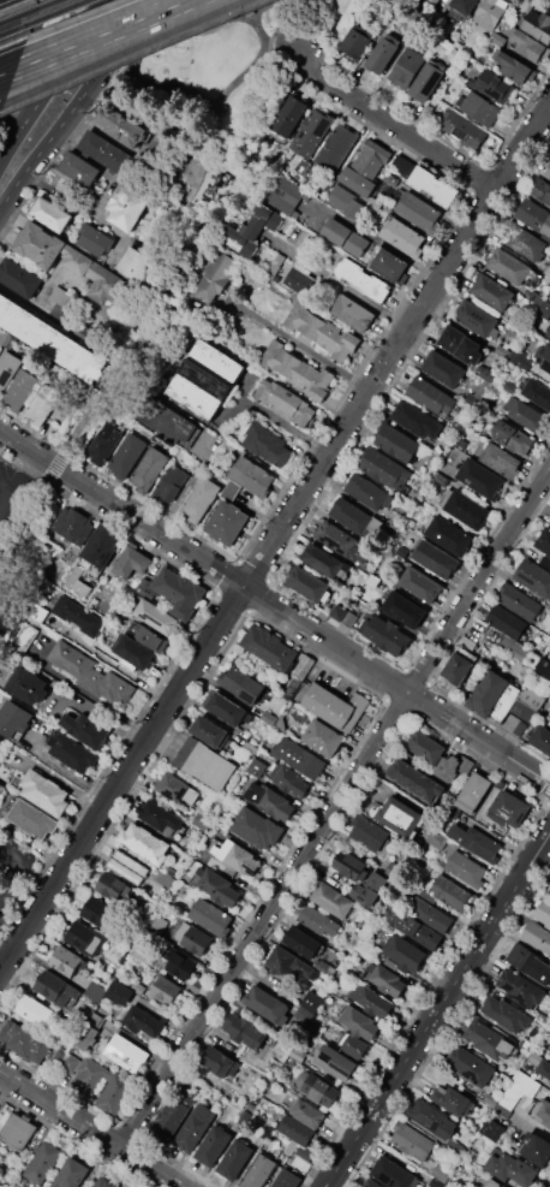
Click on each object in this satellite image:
building: (434, 1)
park: (400, 2)
park: (400, 2)
road: (545, 2)
railway: (46, 4)
building: (462, 5)
railway: (54, 11)
building: (490, 12)
railway: (18, 14)
building: (432, 16)
road: (251, 18)
road: (153, 22)
building: (538, 26)
railway: (13, 28)
road: (185, 30)
road: (98, 34)
building: (497, 38)
building: (352, 44)
building: (528, 44)
parking lot: (295, 46)
road: (120, 54)
building: (381, 54)
building: (407, 67)
building: (514, 67)
road: (7, 70)
road: (48, 79)
building: (425, 81)
building: (492, 85)
park: (225, 87)
road: (157, 90)
building: (437, 97)
road: (1, 106)
road: (71, 106)
building: (478, 107)
building: (289, 115)
road: (80, 118)
road: (411, 118)
road: (390, 123)
building: (120, 125)
building: (462, 127)
building: (311, 132)
building: (334, 149)
building: (106, 153)
building: (304, 165)
building: (402, 165)
building: (365, 167)
building: (548, 167)
building: (79, 168)
building: (390, 179)
building: (434, 185)
building: (543, 191)
building: (283, 194)
park: (184, 198)
building: (345, 201)
building: (373, 203)
building: (126, 206)
building: (418, 212)
building: (50, 214)
building: (534, 216)
building: (252, 229)
road: (369, 235)
building: (345, 237)
building: (402, 237)
building: (94, 239)
building: (522, 239)
building: (40, 245)
building: (133, 263)
building: (275, 265)
building: (390, 265)
building: (509, 265)
building: (548, 269)
building: (92, 274)
building: (216, 275)
building: (19, 278)
building: (299, 279)
building: (363, 279)
road: (340, 285)
building: (492, 292)
building: (62, 297)
building: (536, 298)
building: (544, 309)
building: (352, 313)
building: (476, 317)
road: (163, 322)
building: (321, 331)
building: (548, 333)
building: (2, 336)
building: (50, 339)
road: (297, 343)
building: (460, 344)
building: (502, 351)
building: (543, 356)
building: (7, 368)
building: (443, 368)
building: (297, 369)
building: (488, 374)
building: (205, 379)
road: (348, 384)
building: (510, 387)
building: (19, 390)
building: (537, 392)
building: (430, 396)
building: (285, 400)
building: (42, 403)
building: (527, 415)
building: (416, 419)
building: (166, 420)
road: (286, 425)
building: (137, 426)
building: (512, 437)
building: (395, 443)
building: (103, 444)
building: (265, 444)
building: (127, 456)
building: (501, 461)
building: (383, 469)
building: (150, 470)
building: (251, 476)
building: (480, 479)
building: (171, 483)
road: (8, 488)
road: (19, 488)
building: (231, 489)
building: (367, 492)
parking lot: (12, 494)
building: (201, 498)
building: (466, 510)
building: (351, 515)
building: (227, 522)
building: (76, 528)
building: (448, 535)
road: (275, 539)
building: (544, 540)
building: (342, 541)
building: (101, 545)
building: (401, 552)
building: (435, 559)
building: (324, 560)
building: (131, 562)
building: (544, 563)
building: (534, 577)
building: (76, 581)
building: (419, 583)
building: (306, 584)
building: (373, 584)
building: (174, 592)
building: (519, 601)
road: (275, 604)
building: (402, 607)
building: (38, 612)
building: (78, 615)
building: (156, 616)
building: (343, 616)
building: (507, 622)
building: (388, 635)
building: (24, 639)
building: (151, 639)
building: (268, 647)
building: (514, 648)
building: (133, 653)
building: (304, 665)
building: (458, 669)
building: (543, 669)
building: (91, 673)
building: (240, 683)
building: (26, 684)
road: (83, 689)
building: (488, 693)
building: (532, 698)
building: (506, 702)
building: (336, 706)
road: (91, 711)
building: (229, 711)
building: (549, 711)
building: (13, 718)
building: (269, 718)
building: (84, 729)
building: (210, 731)
building: (322, 738)
building: (0, 740)
building: (540, 740)
building: (426, 747)
building: (251, 748)
building: (71, 752)
building: (299, 756)
building: (205, 762)
building: (256, 767)
road: (70, 777)
building: (289, 781)
building: (416, 781)
road: (64, 784)
building: (1, 788)
building: (177, 788)
building: (43, 793)
building: (472, 793)
building: (269, 801)
road: (335, 809)
building: (508, 809)
building: (161, 817)
building: (399, 817)
building: (31, 819)
building: (202, 821)
building: (257, 829)
building: (367, 832)
building: (437, 838)
building: (144, 842)
building: (476, 842)
building: (237, 856)
road: (18, 865)
building: (351, 865)
building: (127, 866)
building: (466, 868)
parking lot: (12, 871)
building: (162, 878)
building: (334, 878)
building: (114, 886)
building: (217, 886)
building: (367, 889)
building: (549, 892)
building: (449, 894)
building: (381, 895)
building: (331, 900)
building: (100, 913)
building: (544, 913)
building: (430, 914)
building: (209, 916)
building: (318, 921)
building: (414, 927)
building: (181, 932)
building: (536, 936)
building: (149, 937)
building: (84, 938)
building: (197, 940)
building: (303, 942)
building: (403, 954)
road: (5, 956)
building: (522, 957)
building: (70, 963)
building: (181, 966)
building: (289, 967)
building: (325, 969)
building: (384, 979)
building: (55, 987)
building: (137, 987)
building: (520, 987)
building: (91, 990)
building: (166, 990)
building: (119, 992)
building: (98, 993)
building: (312, 1001)
building: (371, 1001)
building: (267, 1003)
building: (36, 1009)
road: (438, 1011)
building: (506, 1014)
building: (304, 1015)
building: (95, 1019)
building: (142, 1021)
building: (359, 1022)
building: (313, 1026)
building: (246, 1031)
building: (84, 1035)
building: (489, 1040)
building: (23, 1041)
building: (354, 1046)
building: (125, 1052)
building: (298, 1054)
building: (534, 1057)
building: (66, 1058)
building: (219, 1062)
building: (337, 1063)
building: (470, 1066)
building: (544, 1068)
building: (100, 1087)
building: (317, 1087)
building: (519, 1090)
building: (189, 1097)
building: (454, 1099)
building: (491, 1099)
building: (306, 1112)
building: (543, 1112)
building: (431, 1117)
building: (168, 1120)
road: (515, 1121)
road: (90, 1128)
building: (195, 1128)
road: (533, 1128)
building: (18, 1130)
building: (267, 1130)
building: (297, 1130)
building: (492, 1130)
building: (412, 1140)
building: (213, 1145)
building: (291, 1146)
building: (456, 1149)
building: (536, 1149)
building: (304, 1153)
building: (234, 1159)
building: (42, 1162)
building: (510, 1168)
building: (258, 1171)
building: (442, 1173)
building: (71, 1174)
building: (393, 1174)
building: (287, 1179)
building: (437, 1182)
building: (103, 1183)
building: (371, 1183)
building: (495, 1183)
building: (468, 1186)

